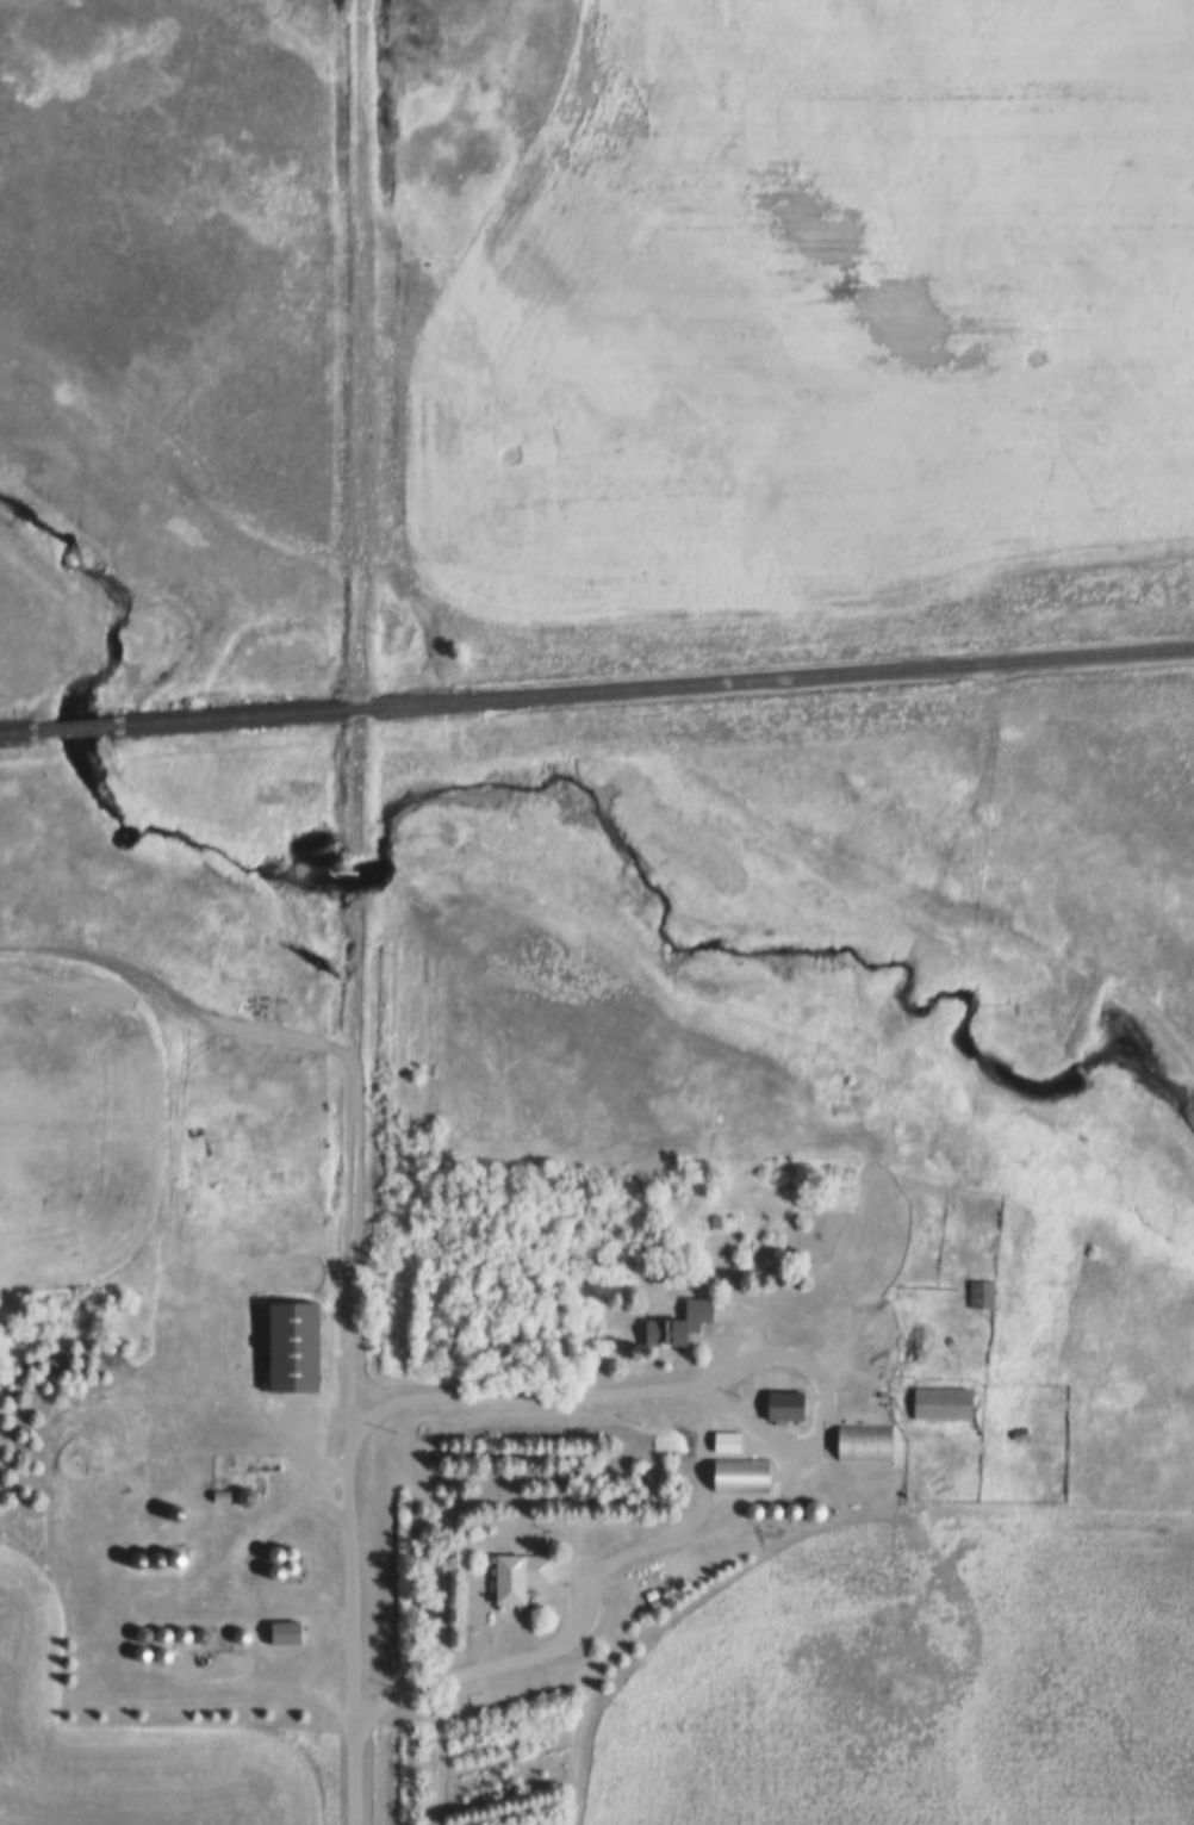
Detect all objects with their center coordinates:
road: (357, 424)
railway: (651, 683)
railway: (71, 726)
railway: (17, 730)
road: (352, 1172)
building: (708, 1283)
building: (988, 1289)
building: (977, 1293)
building: (685, 1320)
building: (299, 1341)
road: (746, 1361)
building: (949, 1398)
building: (790, 1399)
building: (1027, 1428)
building: (732, 1436)
building: (871, 1436)
building: (721, 1441)
building: (746, 1469)
building: (197, 1476)
building: (228, 1490)
building: (251, 1491)
silo: (251, 1491)
building: (759, 1506)
silo: (759, 1506)
building: (778, 1506)
silo: (778, 1506)
building: (797, 1506)
silo: (797, 1506)
building: (820, 1506)
silo: (820, 1506)
building: (180, 1507)
silo: (180, 1507)
building: (297, 1547)
silo: (297, 1547)
building: (280, 1548)
silo: (280, 1548)
building: (181, 1552)
silo: (181, 1552)
building: (142, 1554)
silo: (142, 1554)
building: (161, 1554)
silo: (161, 1554)
building: (297, 1562)
silo: (297, 1562)
building: (280, 1566)
silo: (280, 1566)
building: (526, 1570)
building: (659, 1593)
building: (149, 1628)
silo: (149, 1628)
building: (291, 1628)
building: (169, 1630)
silo: (169, 1630)
building: (188, 1631)
silo: (188, 1631)
building: (209, 1631)
silo: (209, 1631)
building: (247, 1631)
silo: (247, 1631)
road: (350, 1637)
building: (147, 1647)
silo: (147, 1647)
building: (169, 1650)
silo: (169, 1650)

